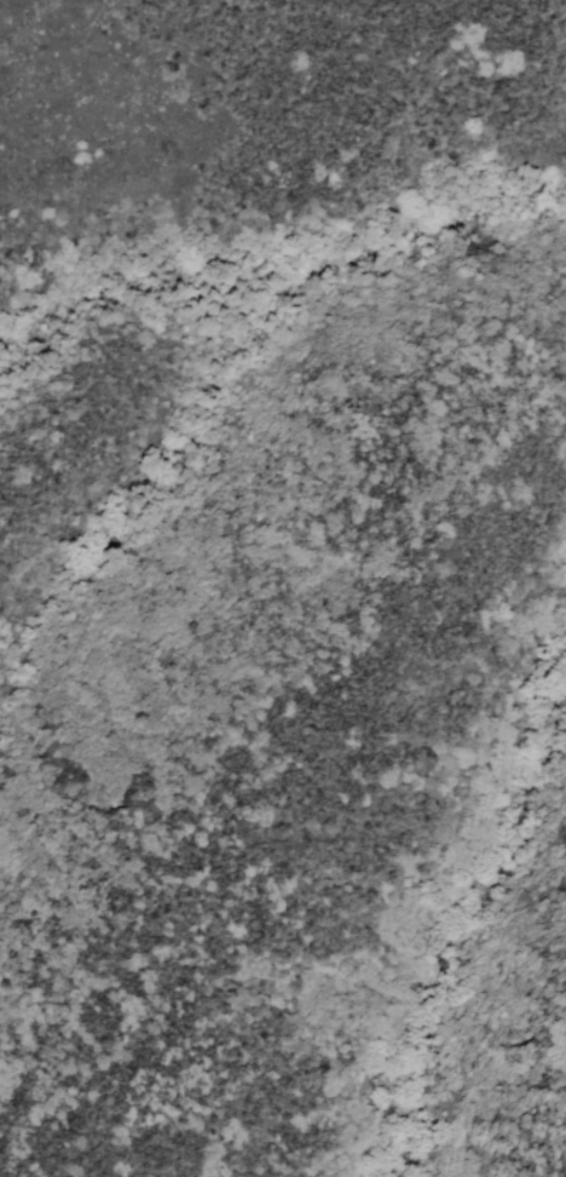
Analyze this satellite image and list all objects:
road: (30, 25)

